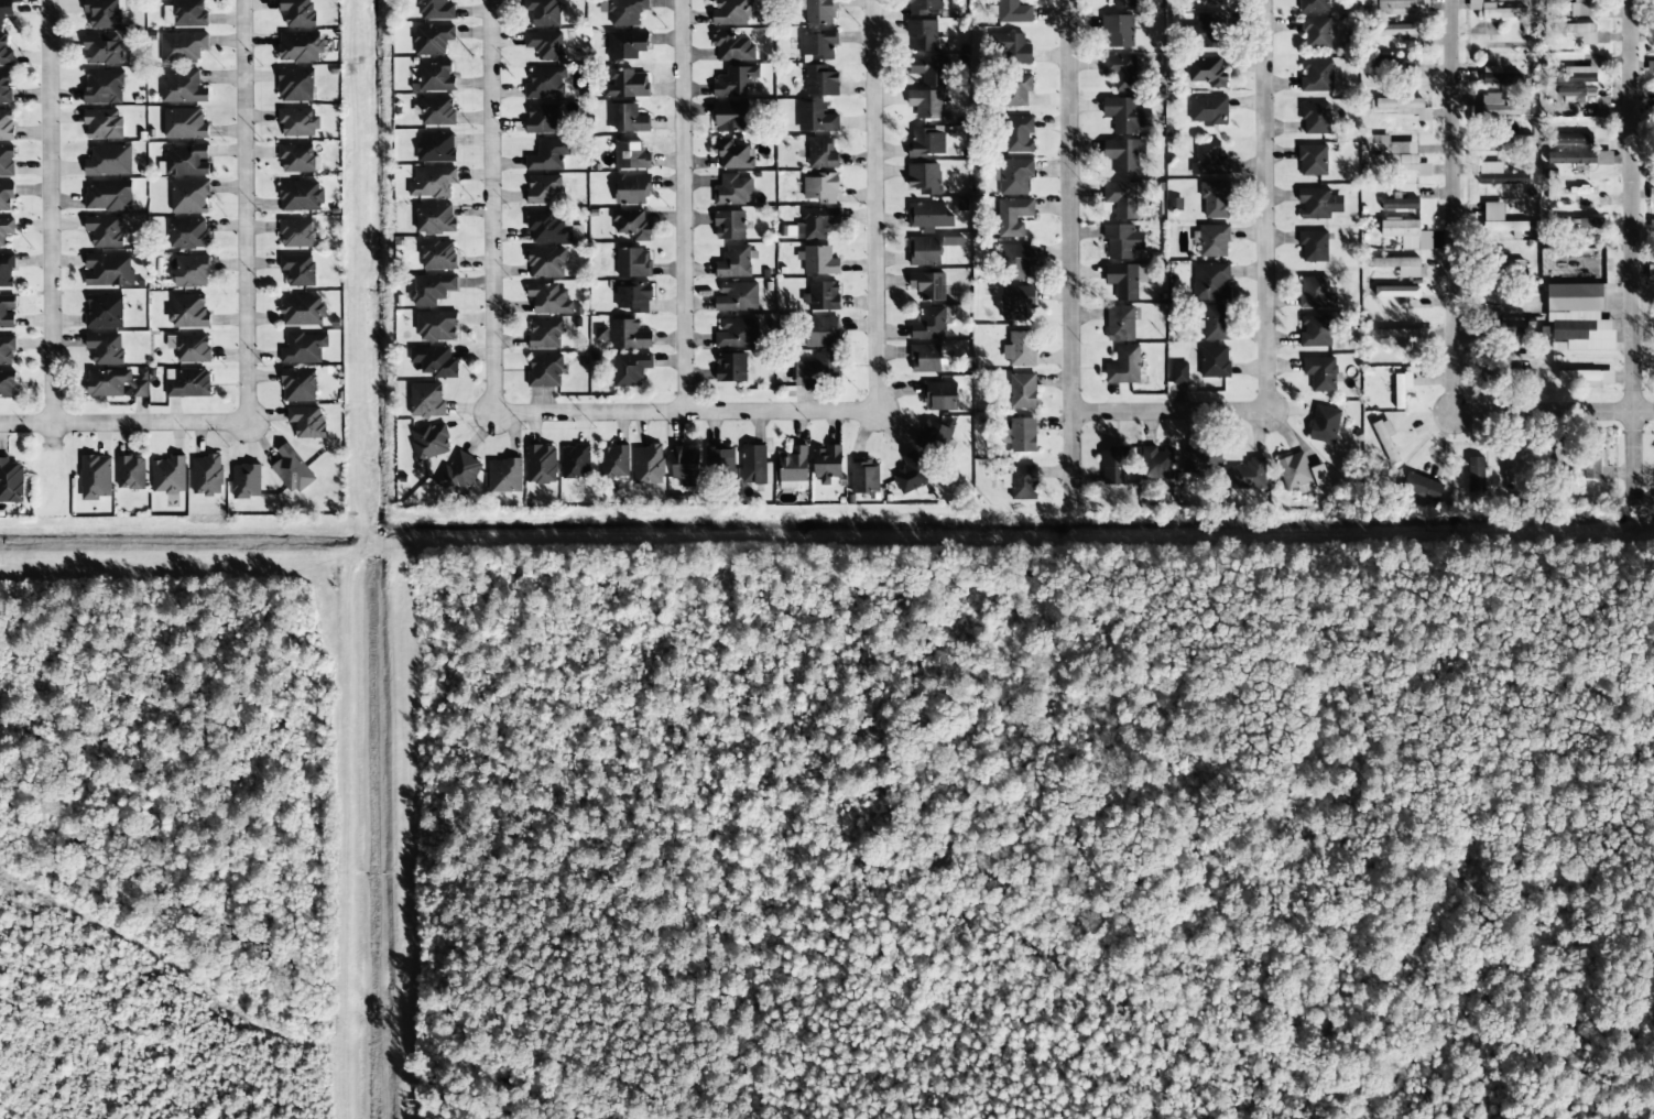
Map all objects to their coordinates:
building: (1211, 2)
building: (1122, 3)
building: (1316, 6)
building: (925, 7)
building: (1402, 7)
building: (1580, 8)
building: (4, 10)
building: (435, 10)
building: (818, 11)
building: (1494, 11)
building: (296, 12)
building: (543, 12)
building: (625, 12)
building: (731, 12)
building: (1013, 12)
building: (104, 13)
building: (187, 13)
building: (1208, 30)
building: (1118, 31)
building: (1576, 31)
building: (1316, 32)
building: (1397, 32)
building: (1650, 34)
building: (432, 40)
building: (545, 45)
building: (625, 45)
building: (818, 45)
building: (182, 47)
building: (298, 47)
building: (731, 47)
building: (101, 48)
building: (1014, 48)
building: (4, 53)
building: (1650, 67)
building: (928, 69)
building: (1120, 72)
building: (1207, 73)
building: (1574, 75)
building: (1316, 76)
building: (434, 77)
building: (1499, 78)
building: (734, 82)
building: (820, 82)
building: (545, 83)
building: (295, 85)
building: (627, 85)
building: (6, 87)
building: (102, 87)
building: (182, 88)
building: (1016, 90)
building: (1575, 94)
building: (1599, 102)
building: (926, 104)
building: (1497, 106)
building: (1405, 107)
building: (1208, 110)
building: (436, 111)
building: (1125, 115)
building: (730, 118)
building: (815, 118)
building: (1314, 118)
building: (542, 119)
building: (628, 119)
building: (102, 123)
building: (297, 123)
building: (184, 124)
building: (6, 126)
building: (1019, 134)
building: (1570, 139)
building: (1509, 141)
building: (926, 142)
building: (435, 148)
building: (732, 153)
building: (821, 153)
building: (1395, 154)
building: (547, 155)
building: (630, 155)
building: (1123, 155)
building: (297, 159)
building: (1588, 159)
building: (1209, 160)
building: (1312, 160)
building: (7, 161)
building: (108, 161)
building: (185, 161)
building: (1497, 174)
building: (1015, 176)
building: (924, 178)
building: (432, 183)
building: (821, 187)
building: (543, 189)
building: (631, 189)
building: (733, 191)
building: (1577, 192)
building: (1651, 194)
building: (6, 196)
building: (108, 196)
building: (189, 196)
building: (300, 196)
building: (1121, 199)
building: (1215, 200)
building: (1399, 203)
road: (875, 204)
building: (1318, 204)
road: (489, 206)
road: (686, 206)
road: (50, 211)
road: (1264, 211)
road: (249, 213)
building: (928, 217)
building: (1013, 217)
road: (1452, 217)
building: (434, 219)
building: (1499, 220)
building: (816, 224)
building: (1571, 224)
building: (631, 225)
building: (1651, 225)
building: (729, 226)
building: (546, 228)
building: (6, 229)
building: (104, 231)
building: (187, 233)
building: (295, 233)
building: (1406, 233)
building: (1122, 241)
building: (1211, 241)
building: (1313, 246)
building: (924, 251)
road: (1070, 252)
road: (1632, 252)
building: (437, 256)
building: (817, 261)
building: (1016, 261)
building: (633, 262)
building: (733, 262)
building: (545, 263)
building: (1400, 265)
building: (108, 270)
building: (297, 270)
building: (7, 271)
building: (191, 272)
building: (1504, 272)
building: (1651, 272)
building: (1125, 280)
building: (1210, 282)
building: (927, 286)
building: (432, 290)
building: (1396, 292)
building: (1316, 293)
building: (824, 296)
building: (633, 297)
building: (737, 297)
building: (1571, 298)
building: (548, 300)
building: (1018, 303)
building: (7, 311)
building: (302, 311)
building: (104, 312)
building: (188, 312)
building: (1215, 323)
building: (929, 324)
building: (1120, 324)
building: (435, 326)
building: (1315, 330)
building: (821, 332)
building: (737, 333)
building: (1392, 334)
building: (544, 335)
building: (629, 335)
building: (1424, 335)
building: (1580, 336)
building: (1514, 338)
building: (105, 348)
building: (189, 348)
building: (303, 348)
building: (1020, 349)
building: (7, 350)
building: (925, 358)
building: (1517, 360)
building: (434, 361)
building: (1214, 361)
building: (1122, 366)
building: (821, 367)
building: (730, 368)
building: (630, 369)
building: (544, 371)
building: (1178, 373)
building: (1320, 373)
building: (1586, 376)
building: (187, 383)
building: (7, 384)
building: (115, 384)
building: (297, 385)
building: (1402, 389)
building: (1022, 391)
building: (939, 396)
building: (426, 400)
road: (684, 412)
road: (1158, 412)
road: (1568, 412)
building: (306, 422)
road: (25, 424)
road: (150, 424)
building: (1324, 425)
building: (935, 435)
building: (1020, 435)
building: (1384, 437)
building: (429, 442)
building: (1198, 458)
building: (719, 460)
building: (575, 461)
building: (614, 461)
building: (1156, 463)
building: (1509, 463)
building: (1557, 463)
building: (1596, 463)
building: (684, 464)
building: (827, 464)
building: (541, 465)
building: (648, 465)
building: (1112, 466)
building: (793, 469)
building: (291, 470)
building: (130, 472)
building: (459, 472)
building: (910, 474)
building: (1301, 474)
building: (1475, 474)
building: (168, 475)
building: (1249, 475)
building: (206, 476)
building: (503, 476)
building: (863, 476)
building: (95, 477)
building: (11, 481)
building: (246, 481)
building: (1419, 486)

